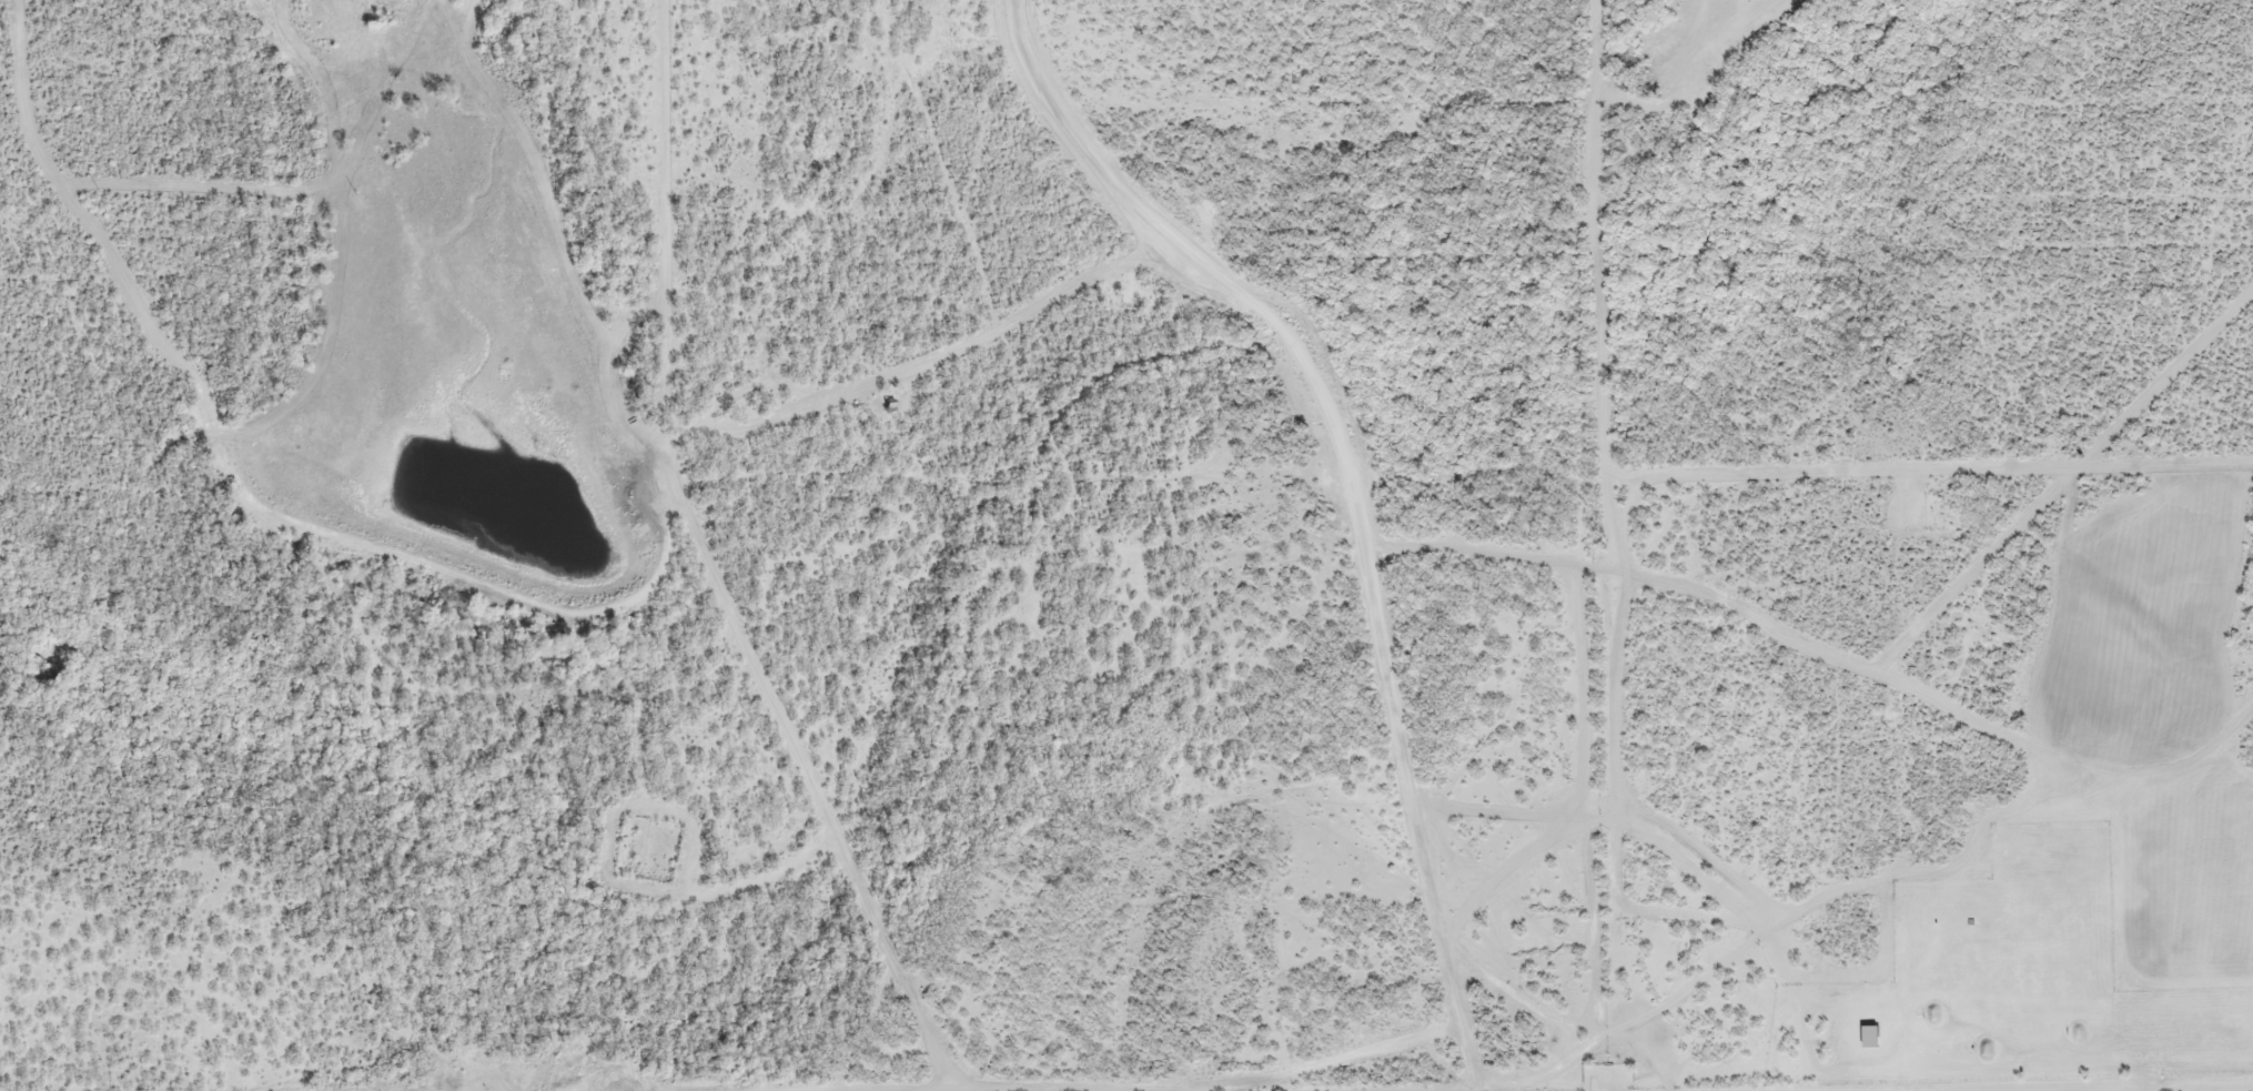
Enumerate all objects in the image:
road: (1109, 113)
road: (1351, 385)

